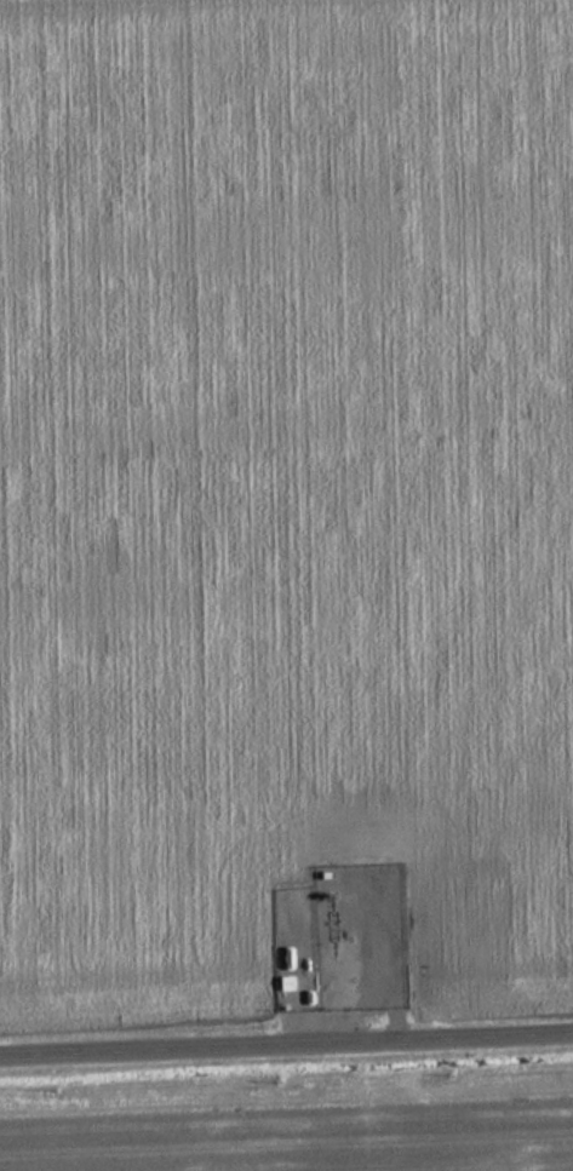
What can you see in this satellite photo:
crop: (279, 480)
road: (348, 988)
road: (349, 1029)
road: (286, 1049)
crop: (303, 1136)

